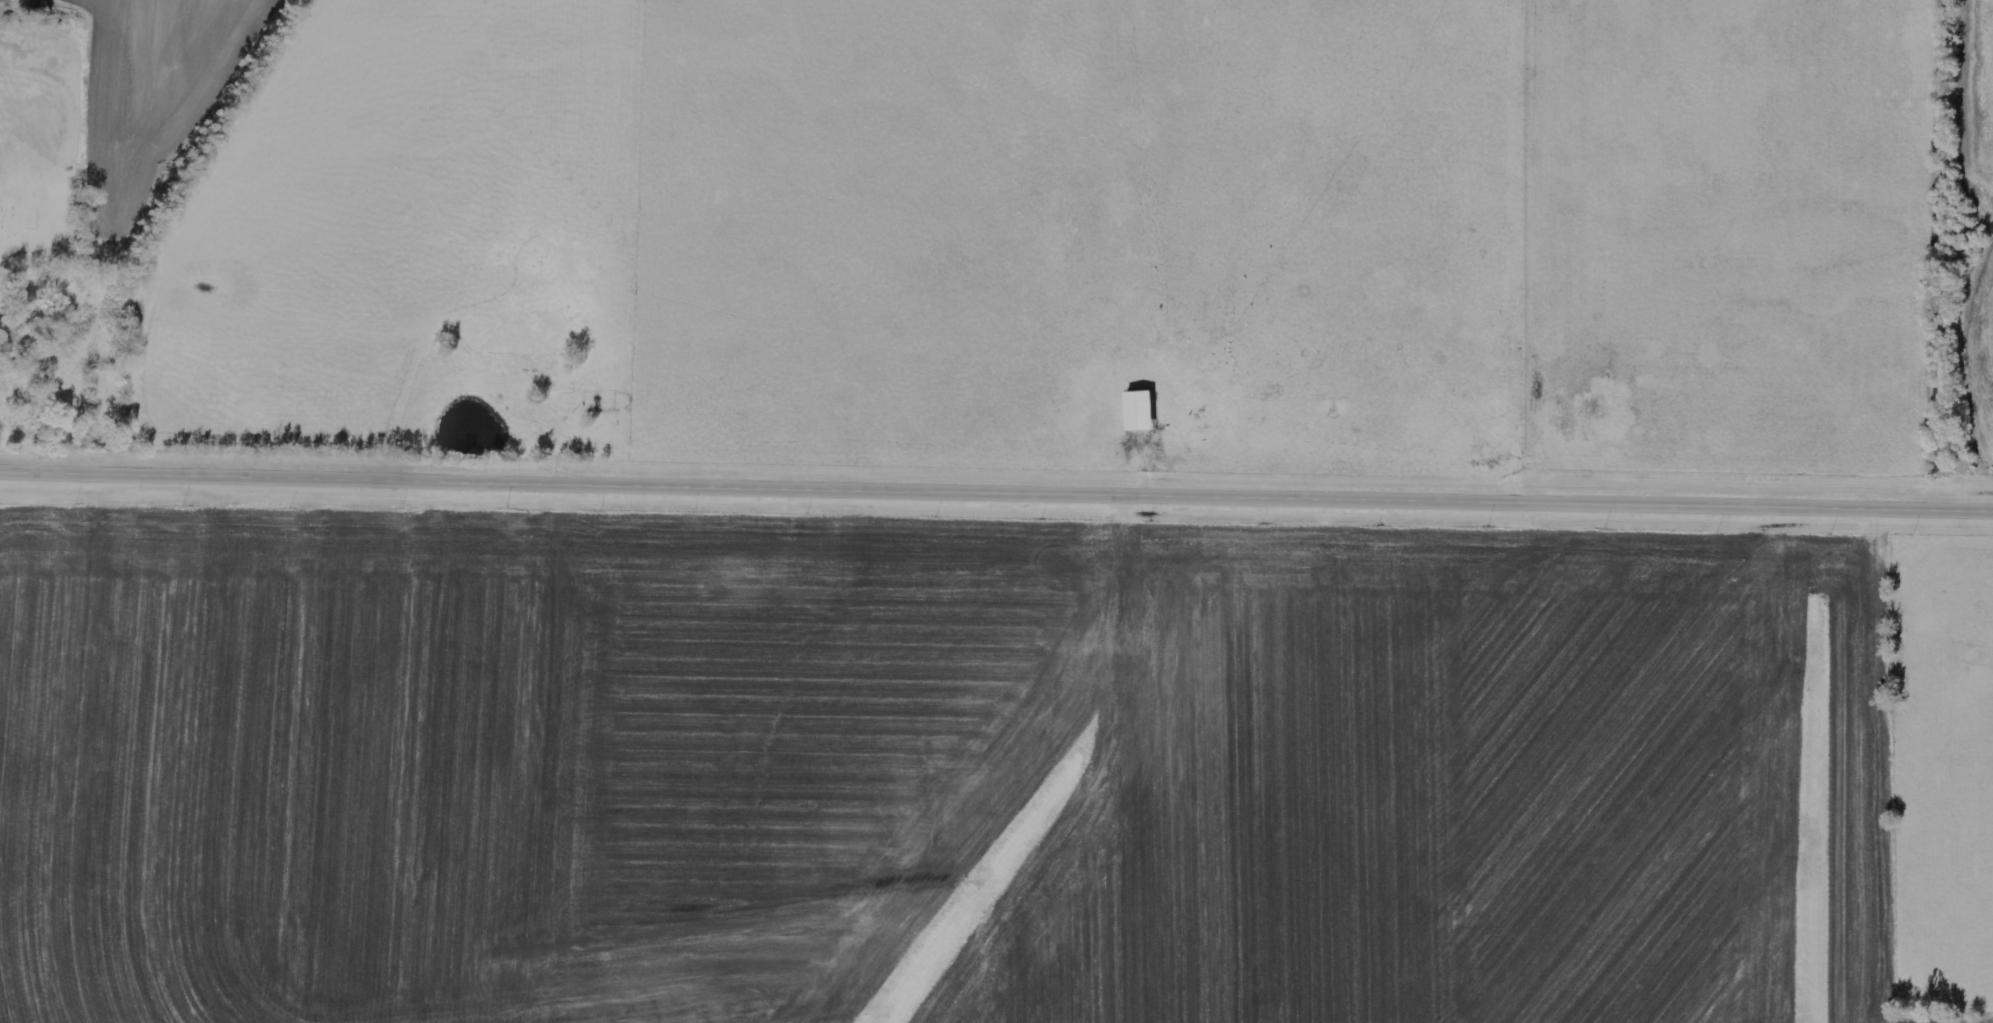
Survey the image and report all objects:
park: (41, 143)
building: (1136, 412)
road: (996, 488)

